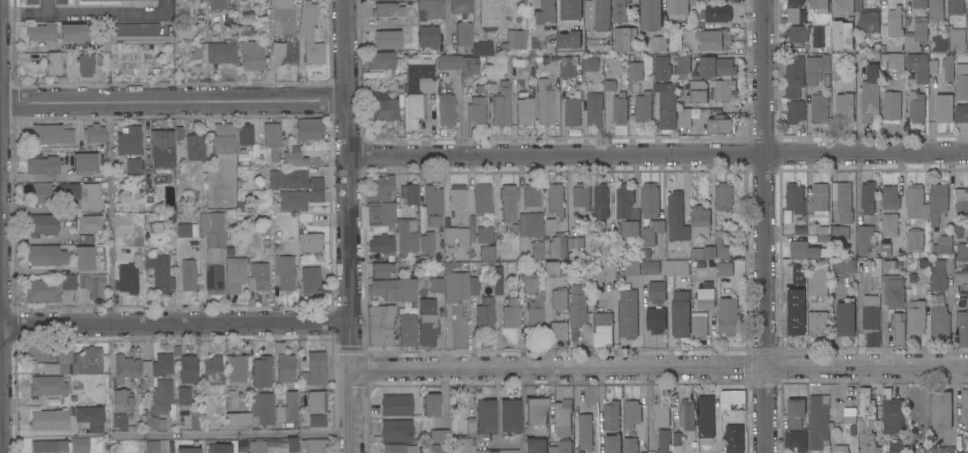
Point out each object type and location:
building: (102, 0)
building: (372, 0)
building: (29, 1)
building: (58, 1)
building: (796, 2)
building: (919, 3)
building: (216, 4)
building: (819, 5)
building: (460, 6)
building: (858, 6)
building: (956, 6)
road: (45, 7)
building: (842, 7)
building: (431, 8)
building: (678, 8)
building: (387, 10)
building: (936, 10)
building: (619, 11)
building: (545, 12)
building: (489, 13)
building: (717, 13)
road: (83, 14)
building: (597, 14)
building: (651, 14)
building: (575, 15)
building: (794, 15)
building: (281, 16)
building: (305, 18)
building: (244, 22)
building: (869, 22)
building: (895, 22)
building: (136, 28)
building: (74, 31)
building: (42, 32)
building: (463, 33)
building: (799, 33)
building: (843, 33)
building: (915, 35)
building: (429, 36)
building: (958, 37)
building: (388, 39)
building: (624, 39)
building: (714, 39)
building: (515, 40)
building: (656, 40)
building: (675, 40)
building: (102, 41)
building: (939, 43)
building: (482, 48)
building: (220, 52)
building: (312, 53)
building: (249, 55)
building: (450, 57)
building: (861, 58)
building: (380, 60)
building: (896, 60)
building: (54, 62)
building: (85, 64)
building: (592, 65)
building: (470, 66)
building: (569, 66)
building: (670, 66)
building: (716, 66)
building: (918, 66)
building: (948, 67)
building: (816, 68)
building: (636, 71)
building: (421, 75)
building: (610, 81)
building: (961, 81)
building: (794, 88)
building: (725, 89)
building: (697, 92)
building: (871, 94)
building: (546, 99)
road: (173, 101)
building: (473, 104)
building: (501, 104)
building: (594, 104)
building: (379, 105)
building: (892, 105)
building: (916, 106)
building: (620, 107)
building: (643, 107)
building: (845, 107)
building: (820, 108)
building: (944, 108)
building: (667, 109)
building: (413, 110)
building: (446, 110)
building: (573, 110)
building: (525, 111)
building: (961, 113)
building: (719, 124)
building: (301, 127)
building: (95, 133)
building: (50, 134)
building: (245, 134)
building: (270, 135)
building: (223, 138)
building: (129, 140)
building: (195, 146)
building: (160, 151)
road: (657, 154)
building: (298, 159)
road: (348, 161)
building: (85, 162)
building: (43, 165)
building: (133, 165)
building: (288, 178)
building: (316, 182)
building: (381, 188)
building: (41, 192)
building: (408, 193)
building: (82, 194)
building: (316, 196)
building: (581, 196)
building: (723, 197)
building: (795, 197)
building: (868, 197)
building: (482, 198)
building: (890, 198)
building: (293, 199)
building: (819, 199)
building: (556, 200)
building: (650, 200)
building: (843, 200)
building: (458, 201)
building: (601, 201)
building: (508, 202)
building: (916, 202)
building: (961, 202)
building: (938, 203)
building: (433, 204)
building: (531, 212)
building: (627, 212)
building: (380, 213)
road: (110, 214)
building: (677, 217)
building: (68, 219)
building: (90, 221)
building: (700, 221)
building: (265, 222)
building: (41, 223)
building: (890, 224)
building: (800, 225)
building: (156, 226)
road: (762, 226)
building: (548, 227)
building: (187, 229)
building: (652, 232)
building: (840, 232)
building: (484, 234)
building: (407, 235)
building: (457, 235)
building: (820, 235)
building: (866, 240)
building: (915, 240)
building: (309, 242)
building: (427, 242)
building: (575, 242)
building: (381, 243)
building: (558, 245)
building: (943, 245)
building: (721, 247)
building: (267, 248)
building: (214, 249)
building: (886, 249)
building: (537, 250)
building: (803, 250)
building: (679, 251)
building: (962, 251)
building: (486, 253)
building: (704, 253)
building: (45, 255)
building: (84, 257)
building: (843, 265)
building: (550, 267)
building: (651, 267)
building: (677, 267)
building: (630, 268)
building: (381, 269)
building: (723, 269)
building: (160, 271)
building: (284, 271)
building: (603, 272)
building: (189, 273)
building: (235, 273)
building: (941, 273)
building: (128, 274)
building: (259, 276)
building: (961, 278)
building: (310, 279)
building: (498, 279)
building: (69, 280)
building: (817, 281)
building: (436, 284)
building: (455, 284)
building: (473, 286)
building: (93, 287)
building: (42, 290)
building: (657, 291)
building: (893, 291)
building: (705, 294)
building: (539, 296)
building: (795, 299)
building: (559, 300)
building: (399, 303)
building: (578, 305)
building: (484, 312)
building: (511, 313)
building: (628, 313)
building: (681, 314)
building: (728, 316)
building: (915, 316)
building: (846, 319)
building: (656, 320)
building: (872, 320)
building: (940, 321)
building: (426, 322)
building: (699, 323)
road: (175, 324)
building: (381, 324)
road: (546, 325)
building: (898, 327)
building: (962, 328)
building: (603, 329)
building: (817, 329)
building: (559, 334)
building: (279, 347)
building: (37, 354)
building: (63, 355)
building: (89, 360)
building: (162, 364)
building: (125, 367)
building: (146, 367)
building: (286, 367)
building: (188, 368)
building: (315, 368)
road: (659, 368)
building: (235, 370)
building: (213, 371)
building: (262, 372)
building: (47, 385)
road: (351, 387)
building: (184, 397)
building: (732, 397)
building: (122, 400)
building: (317, 401)
building: (964, 403)
building: (396, 404)
building: (431, 404)
building: (158, 405)
building: (262, 406)
building: (866, 407)
building: (288, 408)
building: (536, 410)
building: (942, 410)
building: (661, 412)
building: (687, 412)
building: (631, 413)
building: (705, 413)
building: (510, 414)
building: (893, 414)
building: (485, 415)
building: (562, 415)
building: (611, 415)
building: (90, 416)
building: (194, 418)
building: (49, 419)
building: (232, 419)
building: (317, 420)
building: (819, 421)
building: (122, 423)
building: (796, 425)
building: (396, 429)
building: (585, 431)
building: (440, 435)
road: (232, 436)
building: (734, 438)
building: (664, 442)
building: (868, 442)
building: (283, 443)
building: (612, 443)
building: (677, 443)
building: (312, 445)
building: (460, 445)
building: (535, 445)
building: (630, 445)
building: (61, 446)
building: (152, 446)
building: (256, 446)
building: (565, 446)
building: (707, 446)
building: (897, 446)
building: (219, 448)
building: (398, 448)
building: (437, 448)
building: (188, 449)
building: (841, 449)
building: (943, 449)
building: (488, 451)
building: (509, 451)
building: (643, 452)
building: (962, 452)

